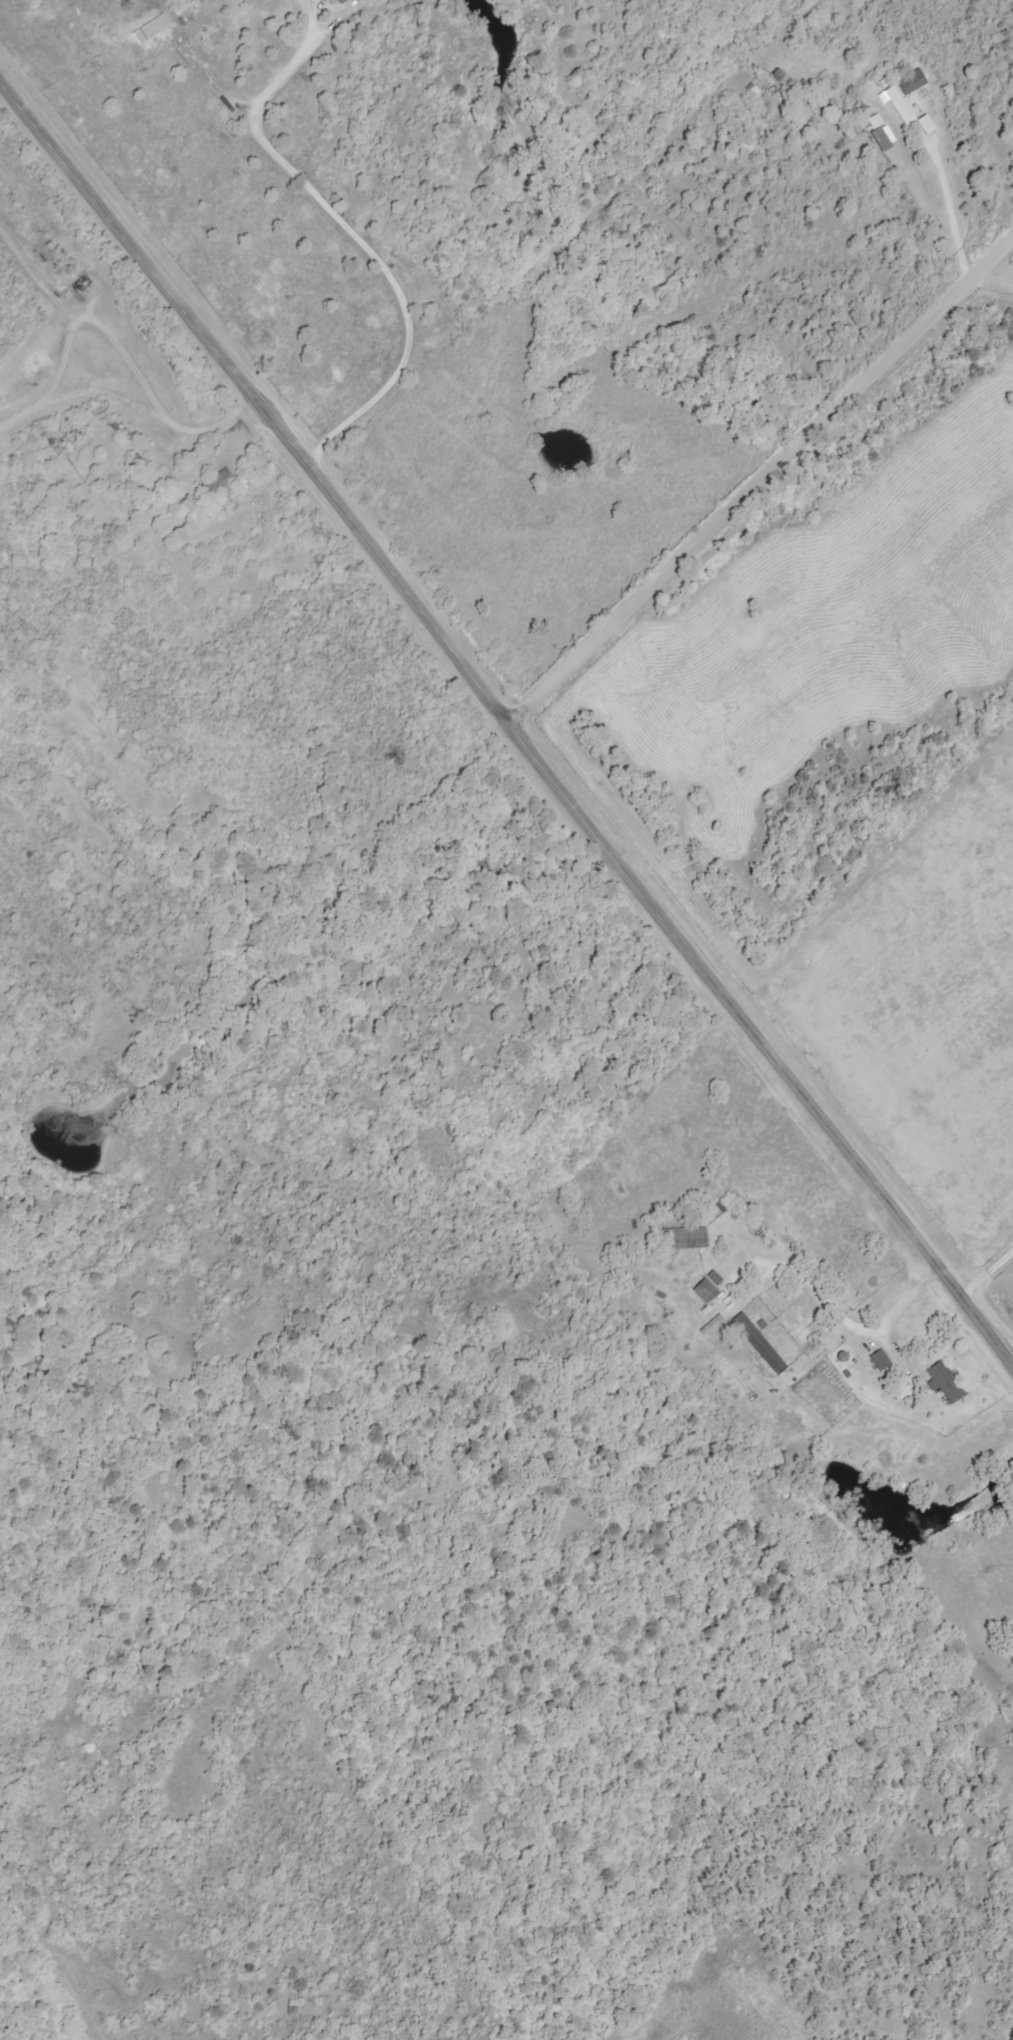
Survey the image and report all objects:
building: (339, 1)
building: (151, 29)
road: (194, 57)
road: (296, 58)
building: (911, 80)
road: (882, 96)
building: (905, 109)
building: (878, 134)
road: (395, 281)
road: (751, 475)
road: (507, 725)
road: (566, 1130)
building: (685, 1237)
road: (846, 1326)
building: (758, 1342)
building: (944, 1382)

